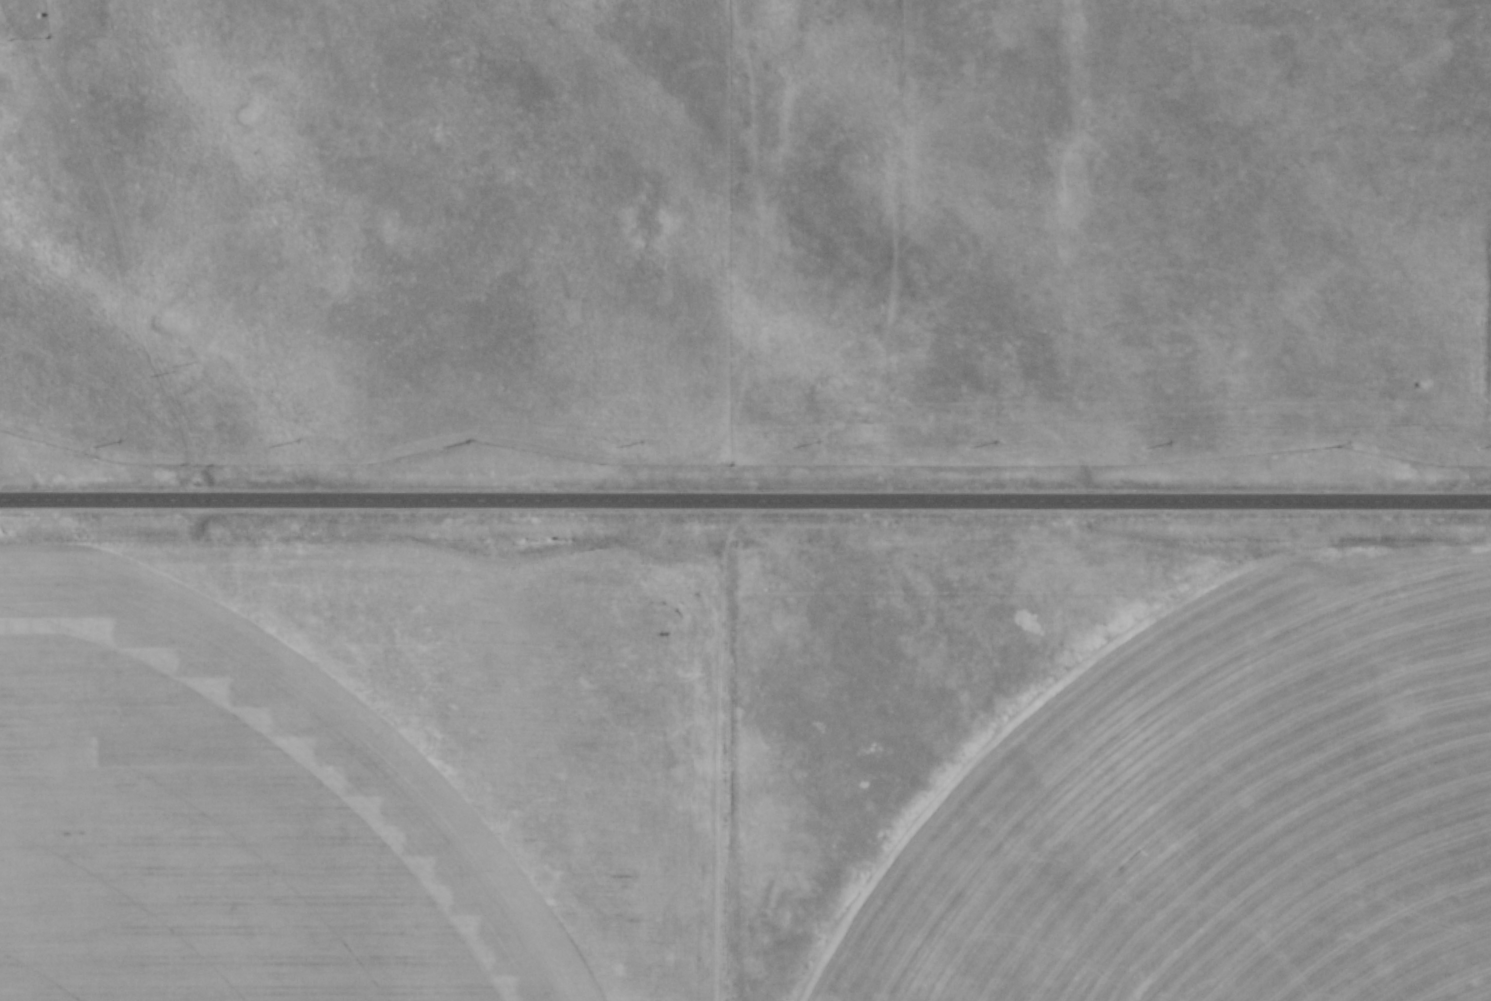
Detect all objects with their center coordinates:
road: (745, 497)

